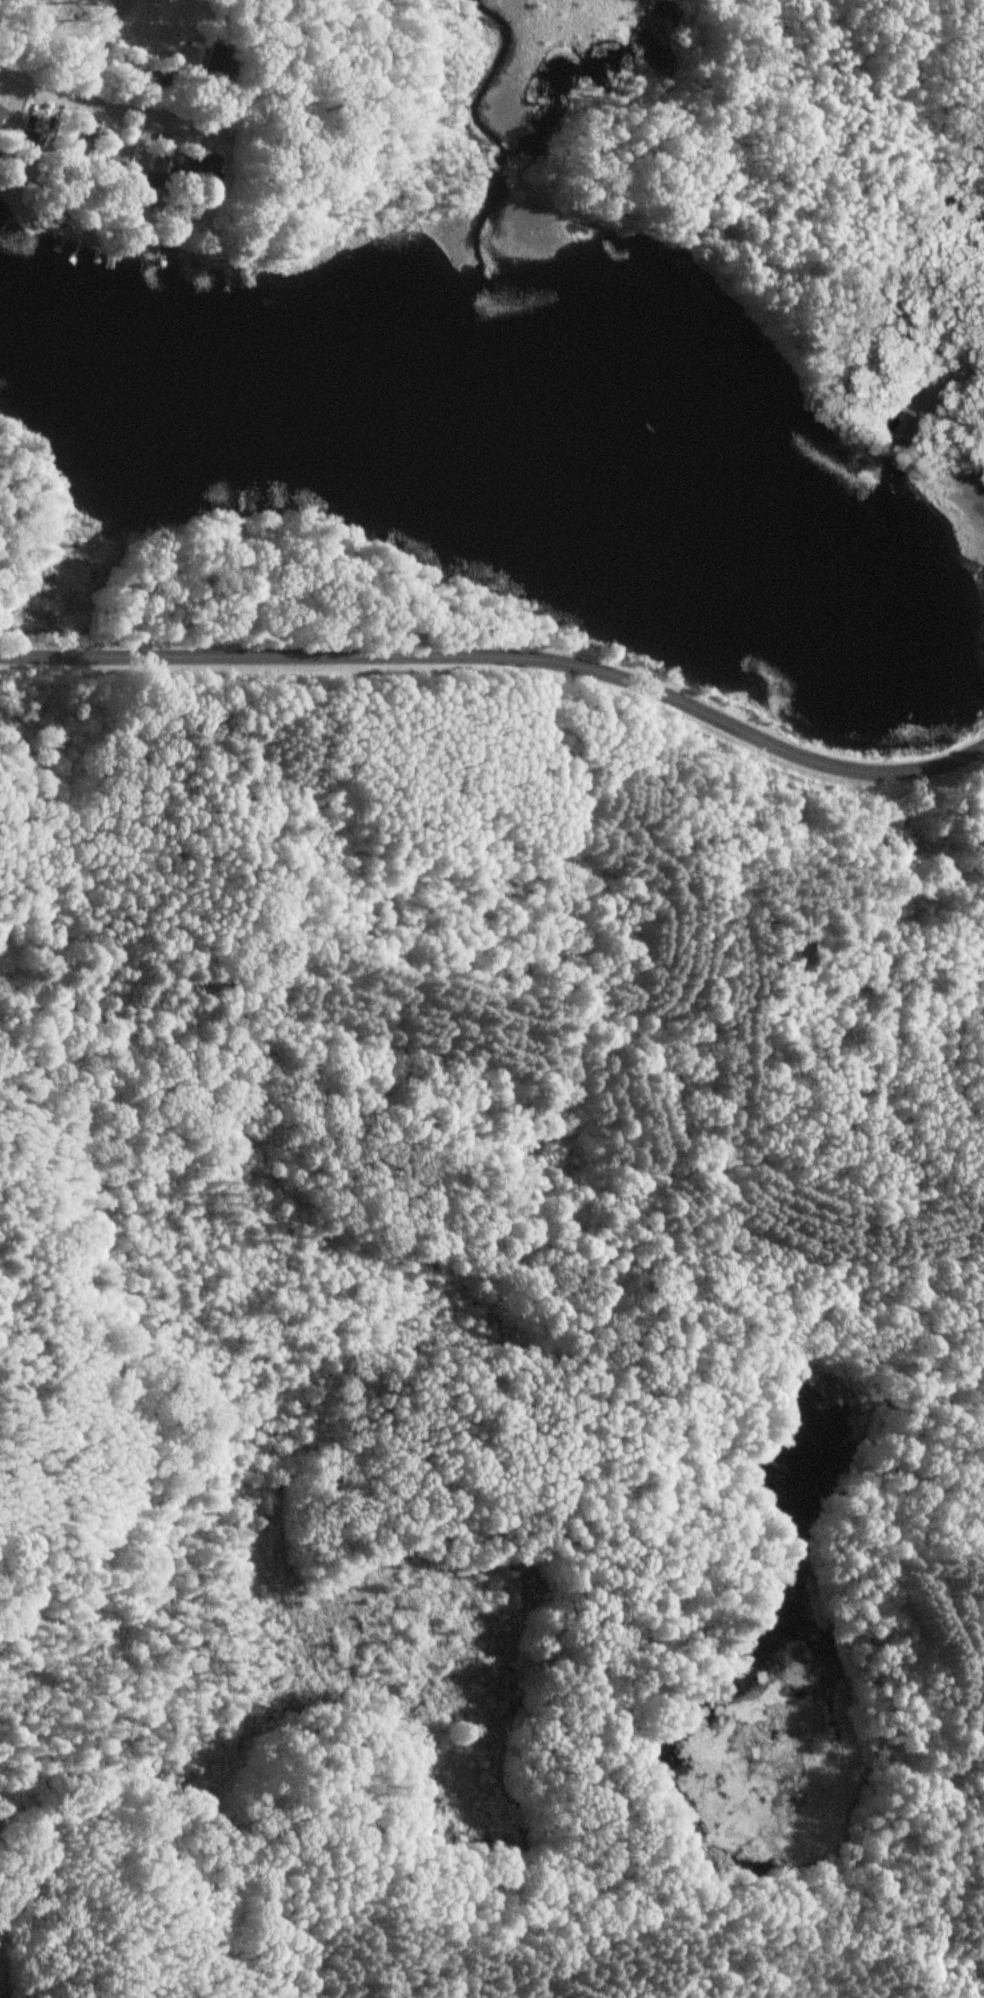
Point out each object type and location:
road: (97, 10)
road: (101, 50)
road: (91, 105)
building: (87, 130)
building: (29, 147)
building: (153, 174)
building: (199, 176)
road: (963, 374)
parking lot: (918, 408)
road: (506, 654)
road: (645, 1425)

